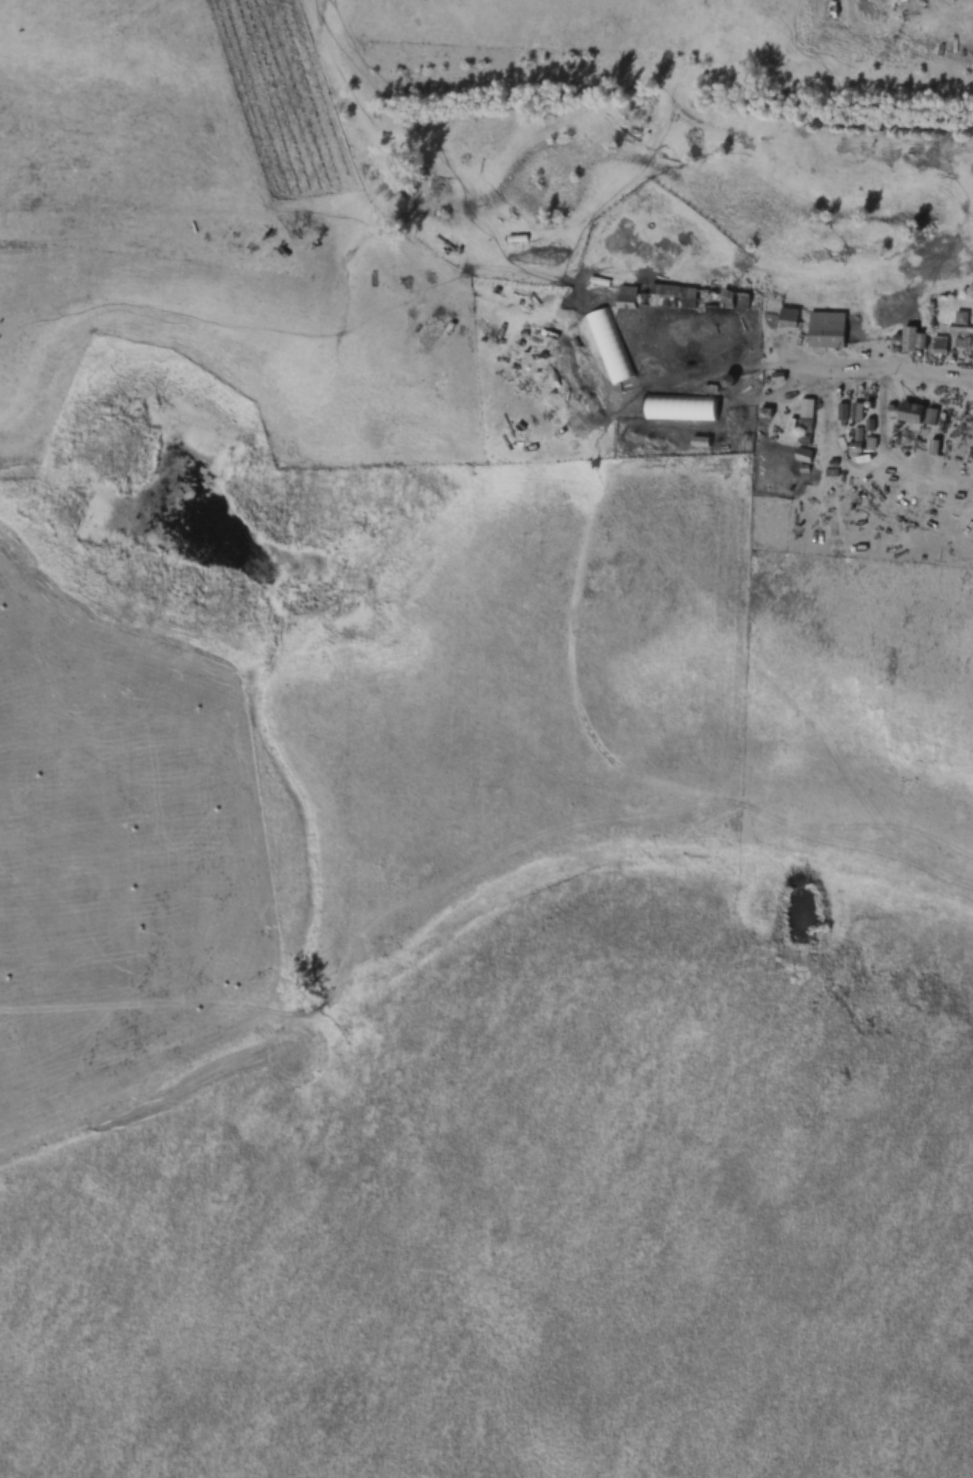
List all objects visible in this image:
building: (949, 44)
building: (962, 318)
building: (817, 326)
building: (912, 339)
building: (939, 342)
building: (610, 345)
road: (854, 364)
building: (678, 407)
building: (909, 412)

